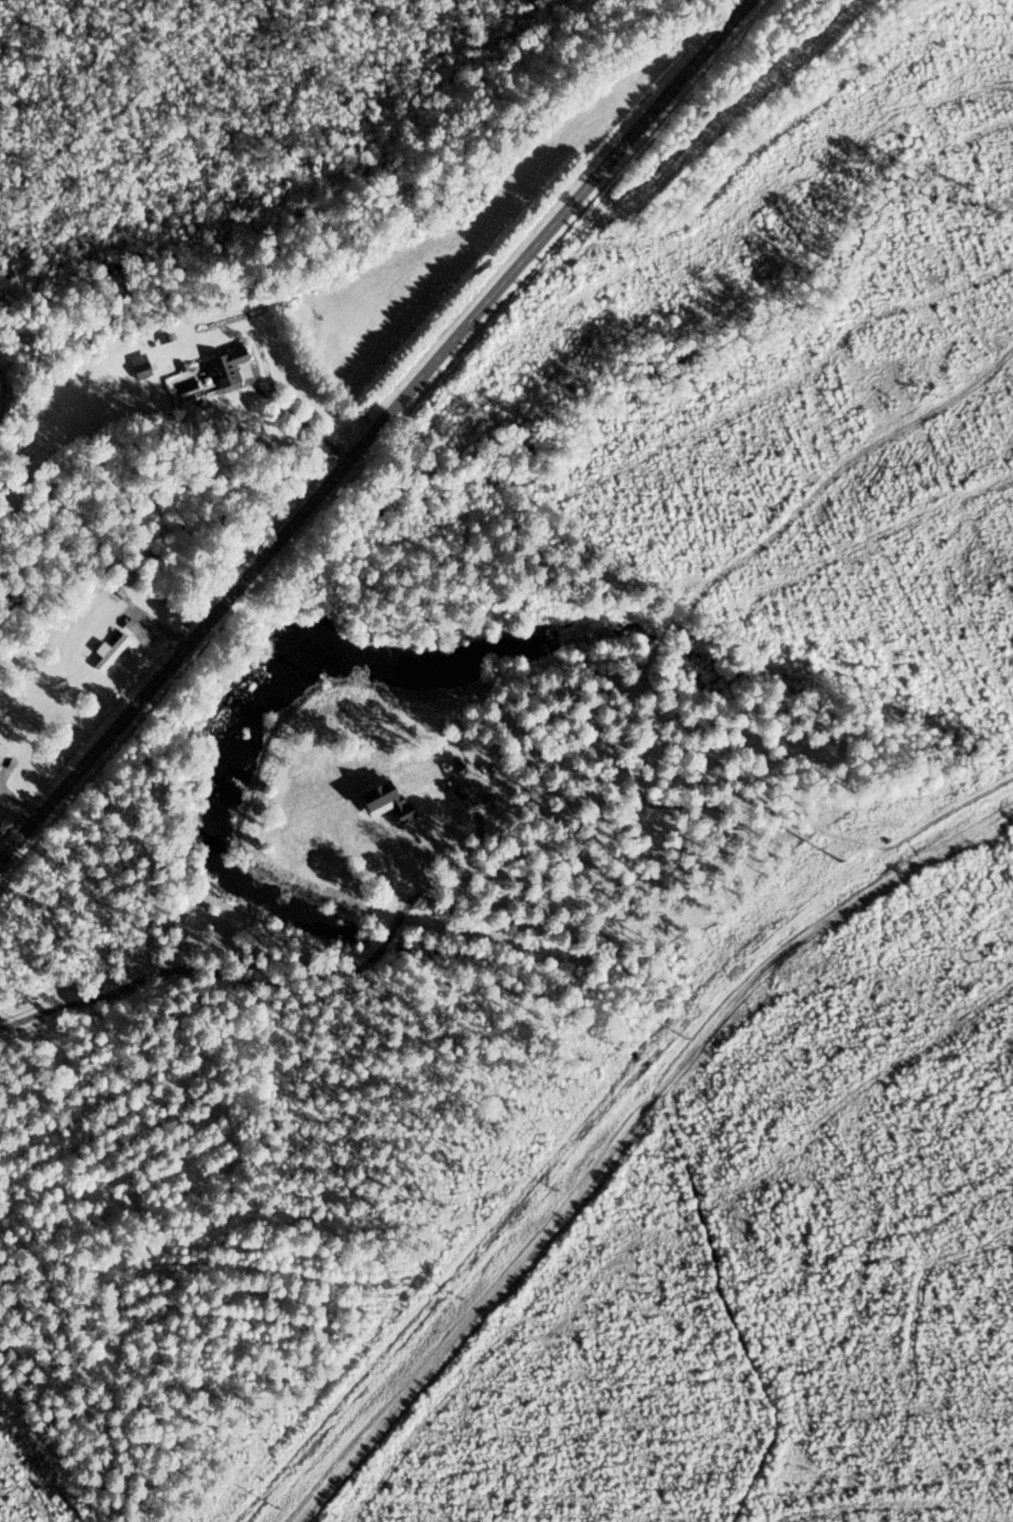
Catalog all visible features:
building: (142, 367)
building: (229, 367)
road: (293, 415)
road: (374, 429)
building: (111, 650)
road: (19, 802)
road: (702, 803)
road: (253, 977)

